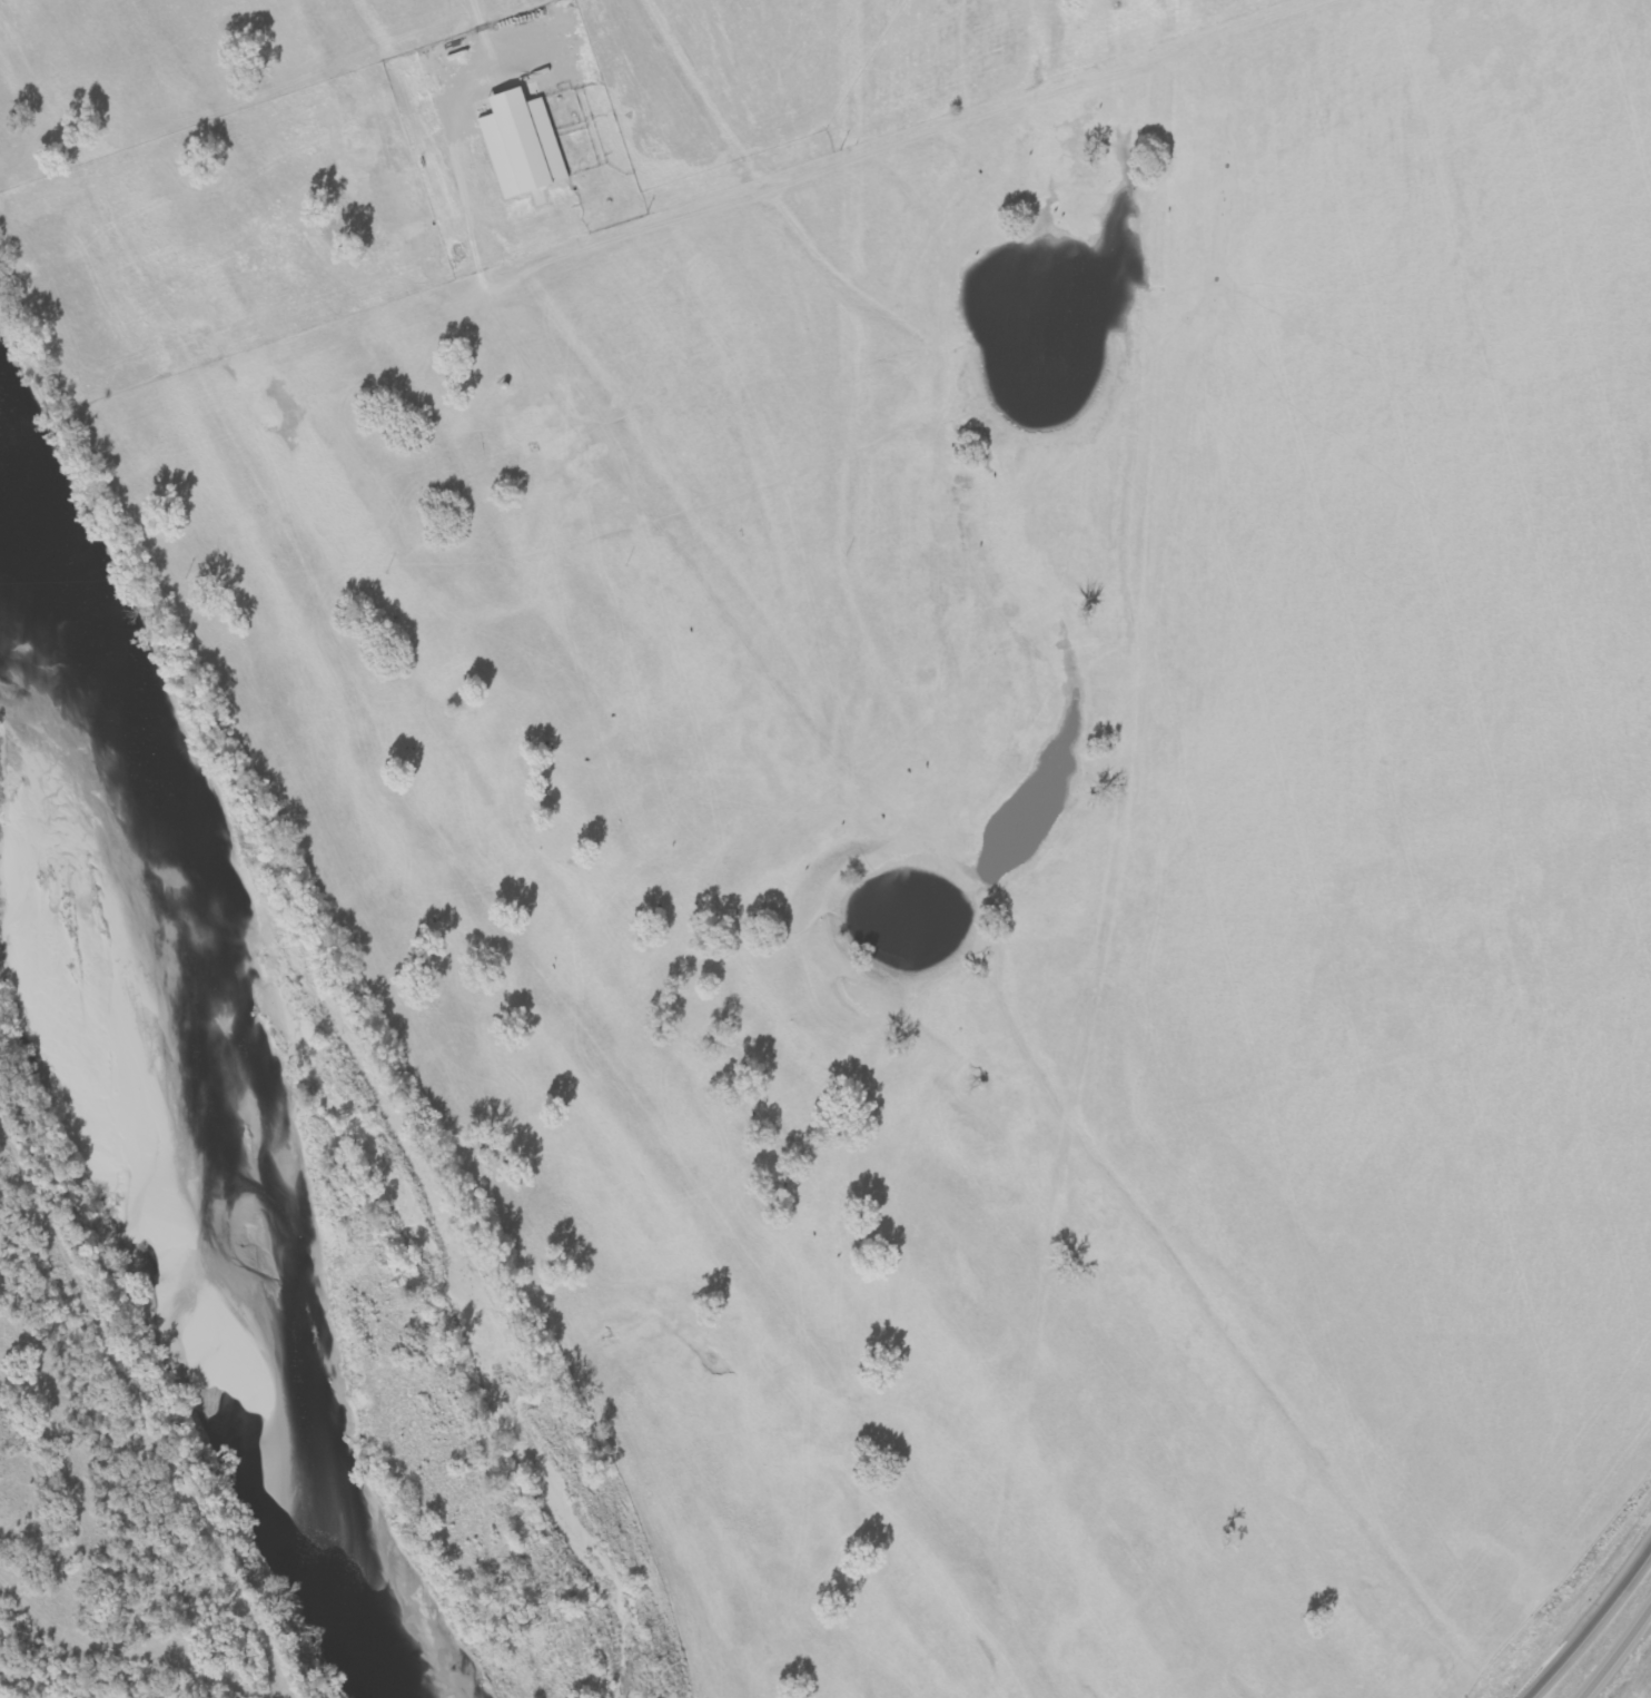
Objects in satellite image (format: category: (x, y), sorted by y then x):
river: (176, 1099)
road: (1588, 1617)
road: (1613, 1649)

